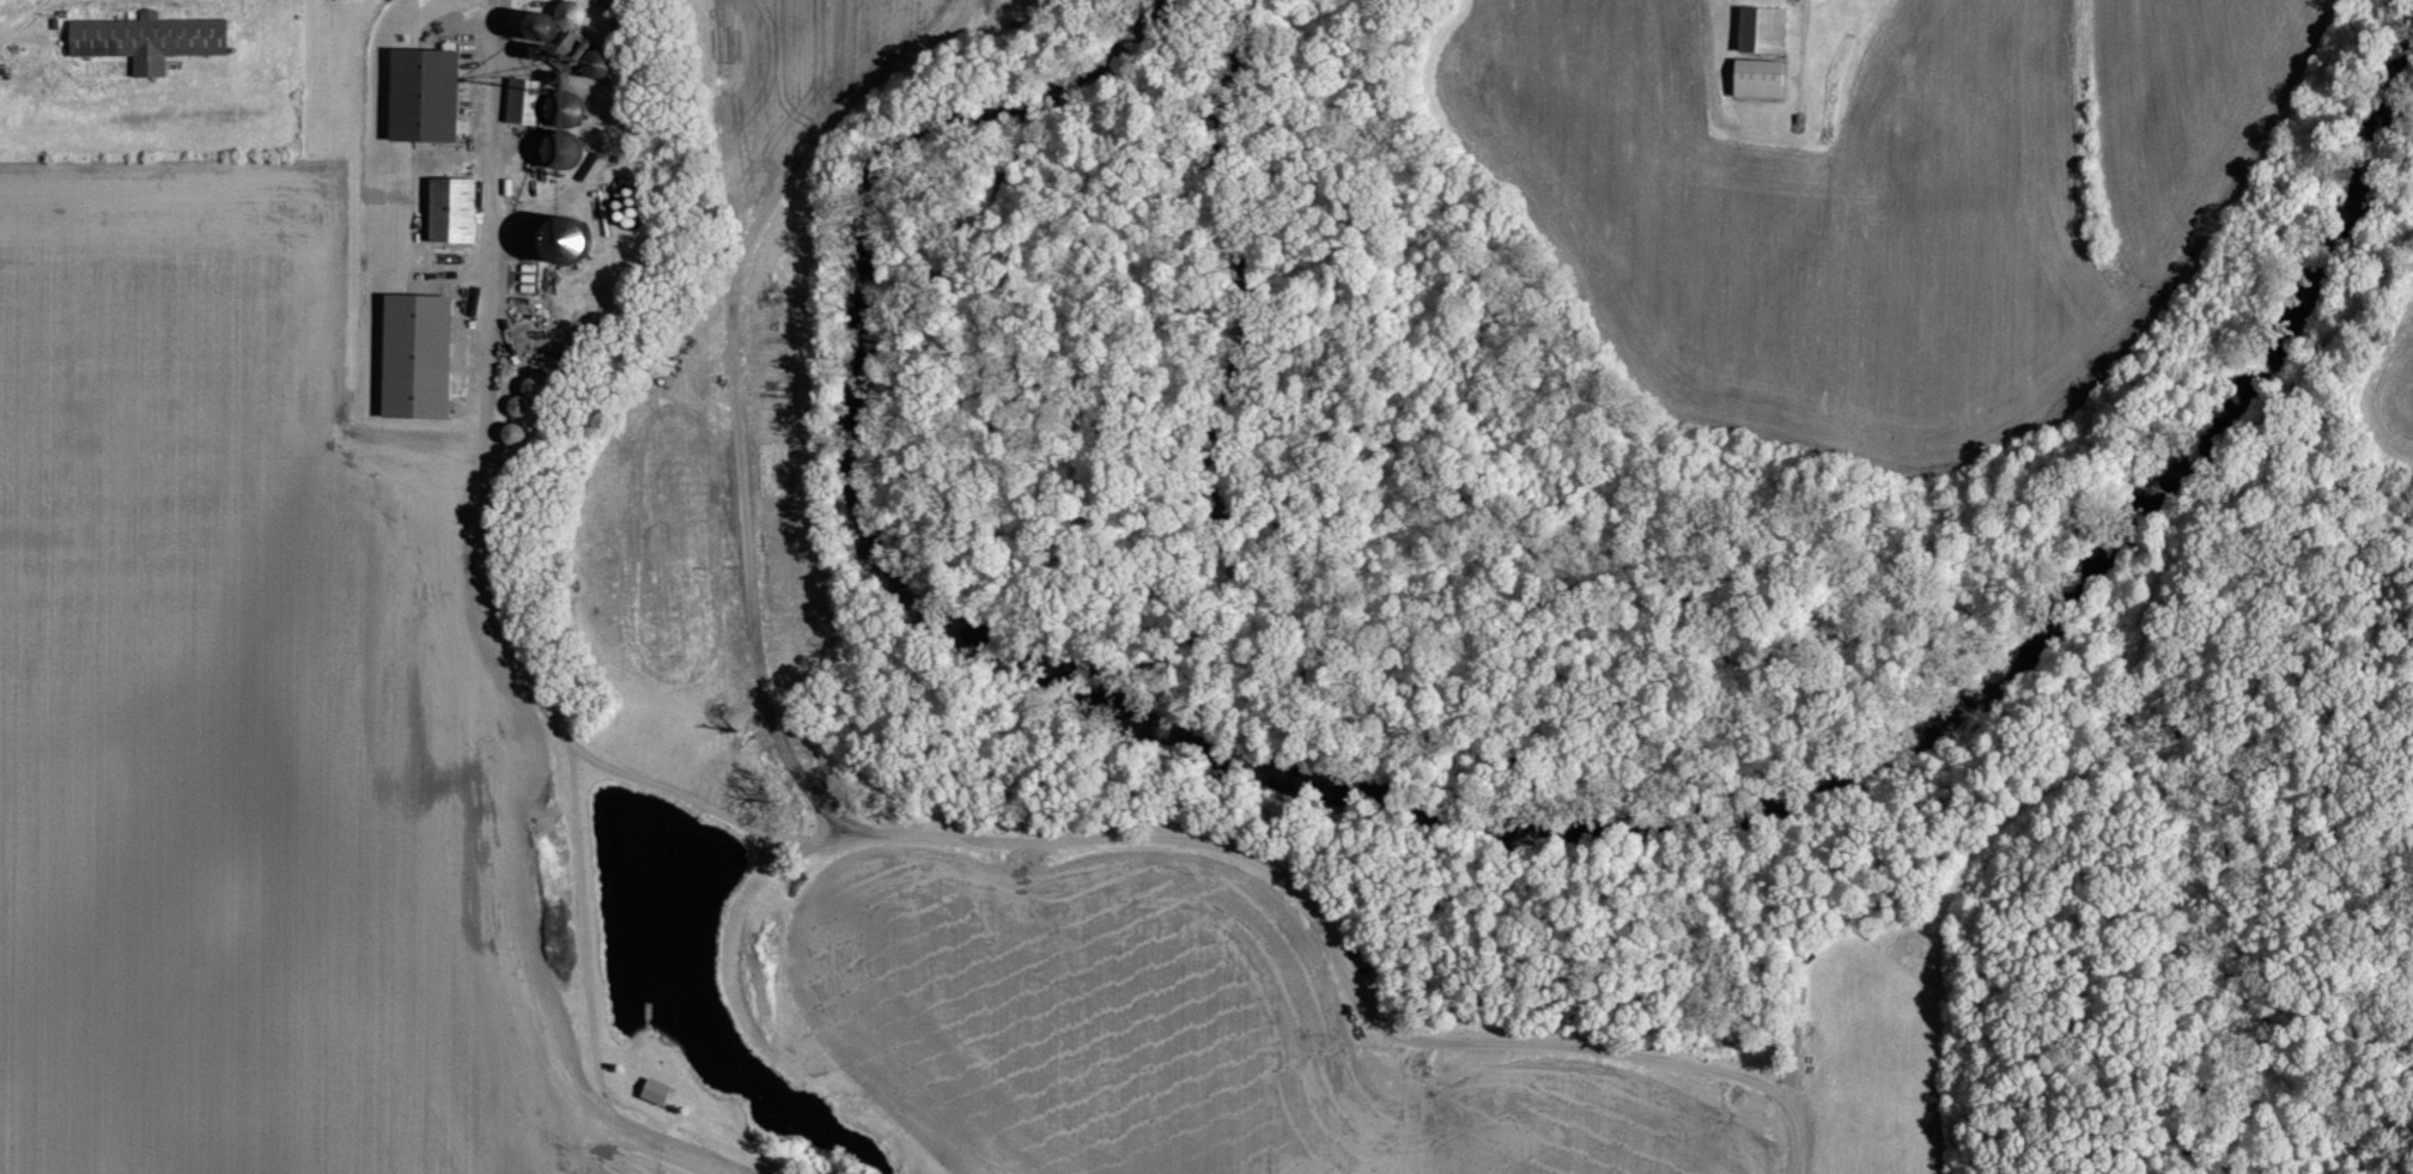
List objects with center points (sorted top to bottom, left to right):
building: (1763, 29)
building: (148, 39)
river: (1107, 57)
building: (1758, 78)
building: (555, 83)
building: (423, 93)
building: (451, 209)
building: (564, 238)
building: (415, 355)
road: (484, 547)
river: (2083, 583)
river: (900, 591)
road: (934, 835)
building: (656, 1093)

